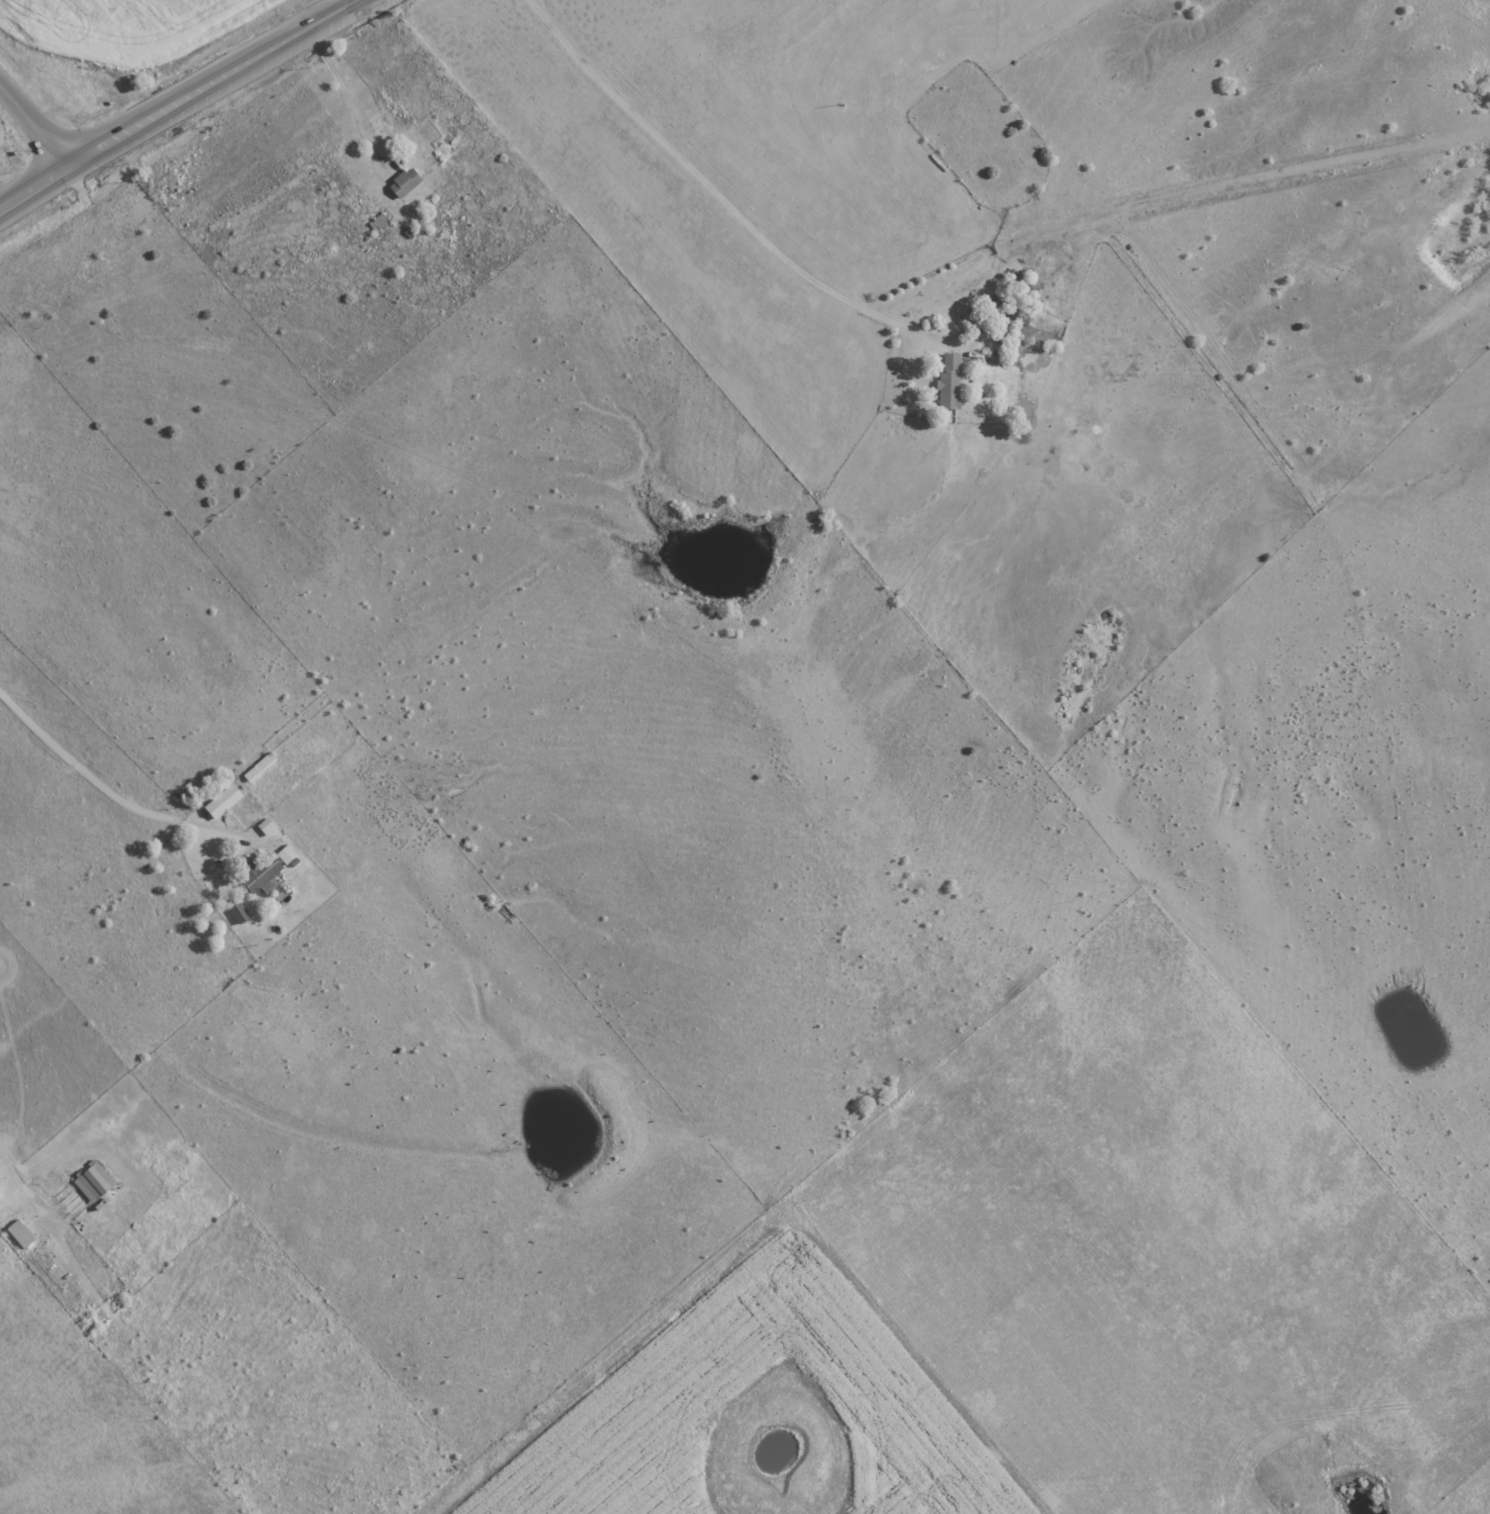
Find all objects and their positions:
road: (336, 84)
road: (180, 104)
road: (36, 126)
building: (407, 181)
road: (722, 201)
building: (950, 381)
road: (104, 787)
building: (226, 800)
building: (269, 825)
building: (289, 853)
building: (264, 873)
building: (241, 911)
building: (96, 1180)
building: (1, 1190)
building: (23, 1233)
road: (1334, 1425)

